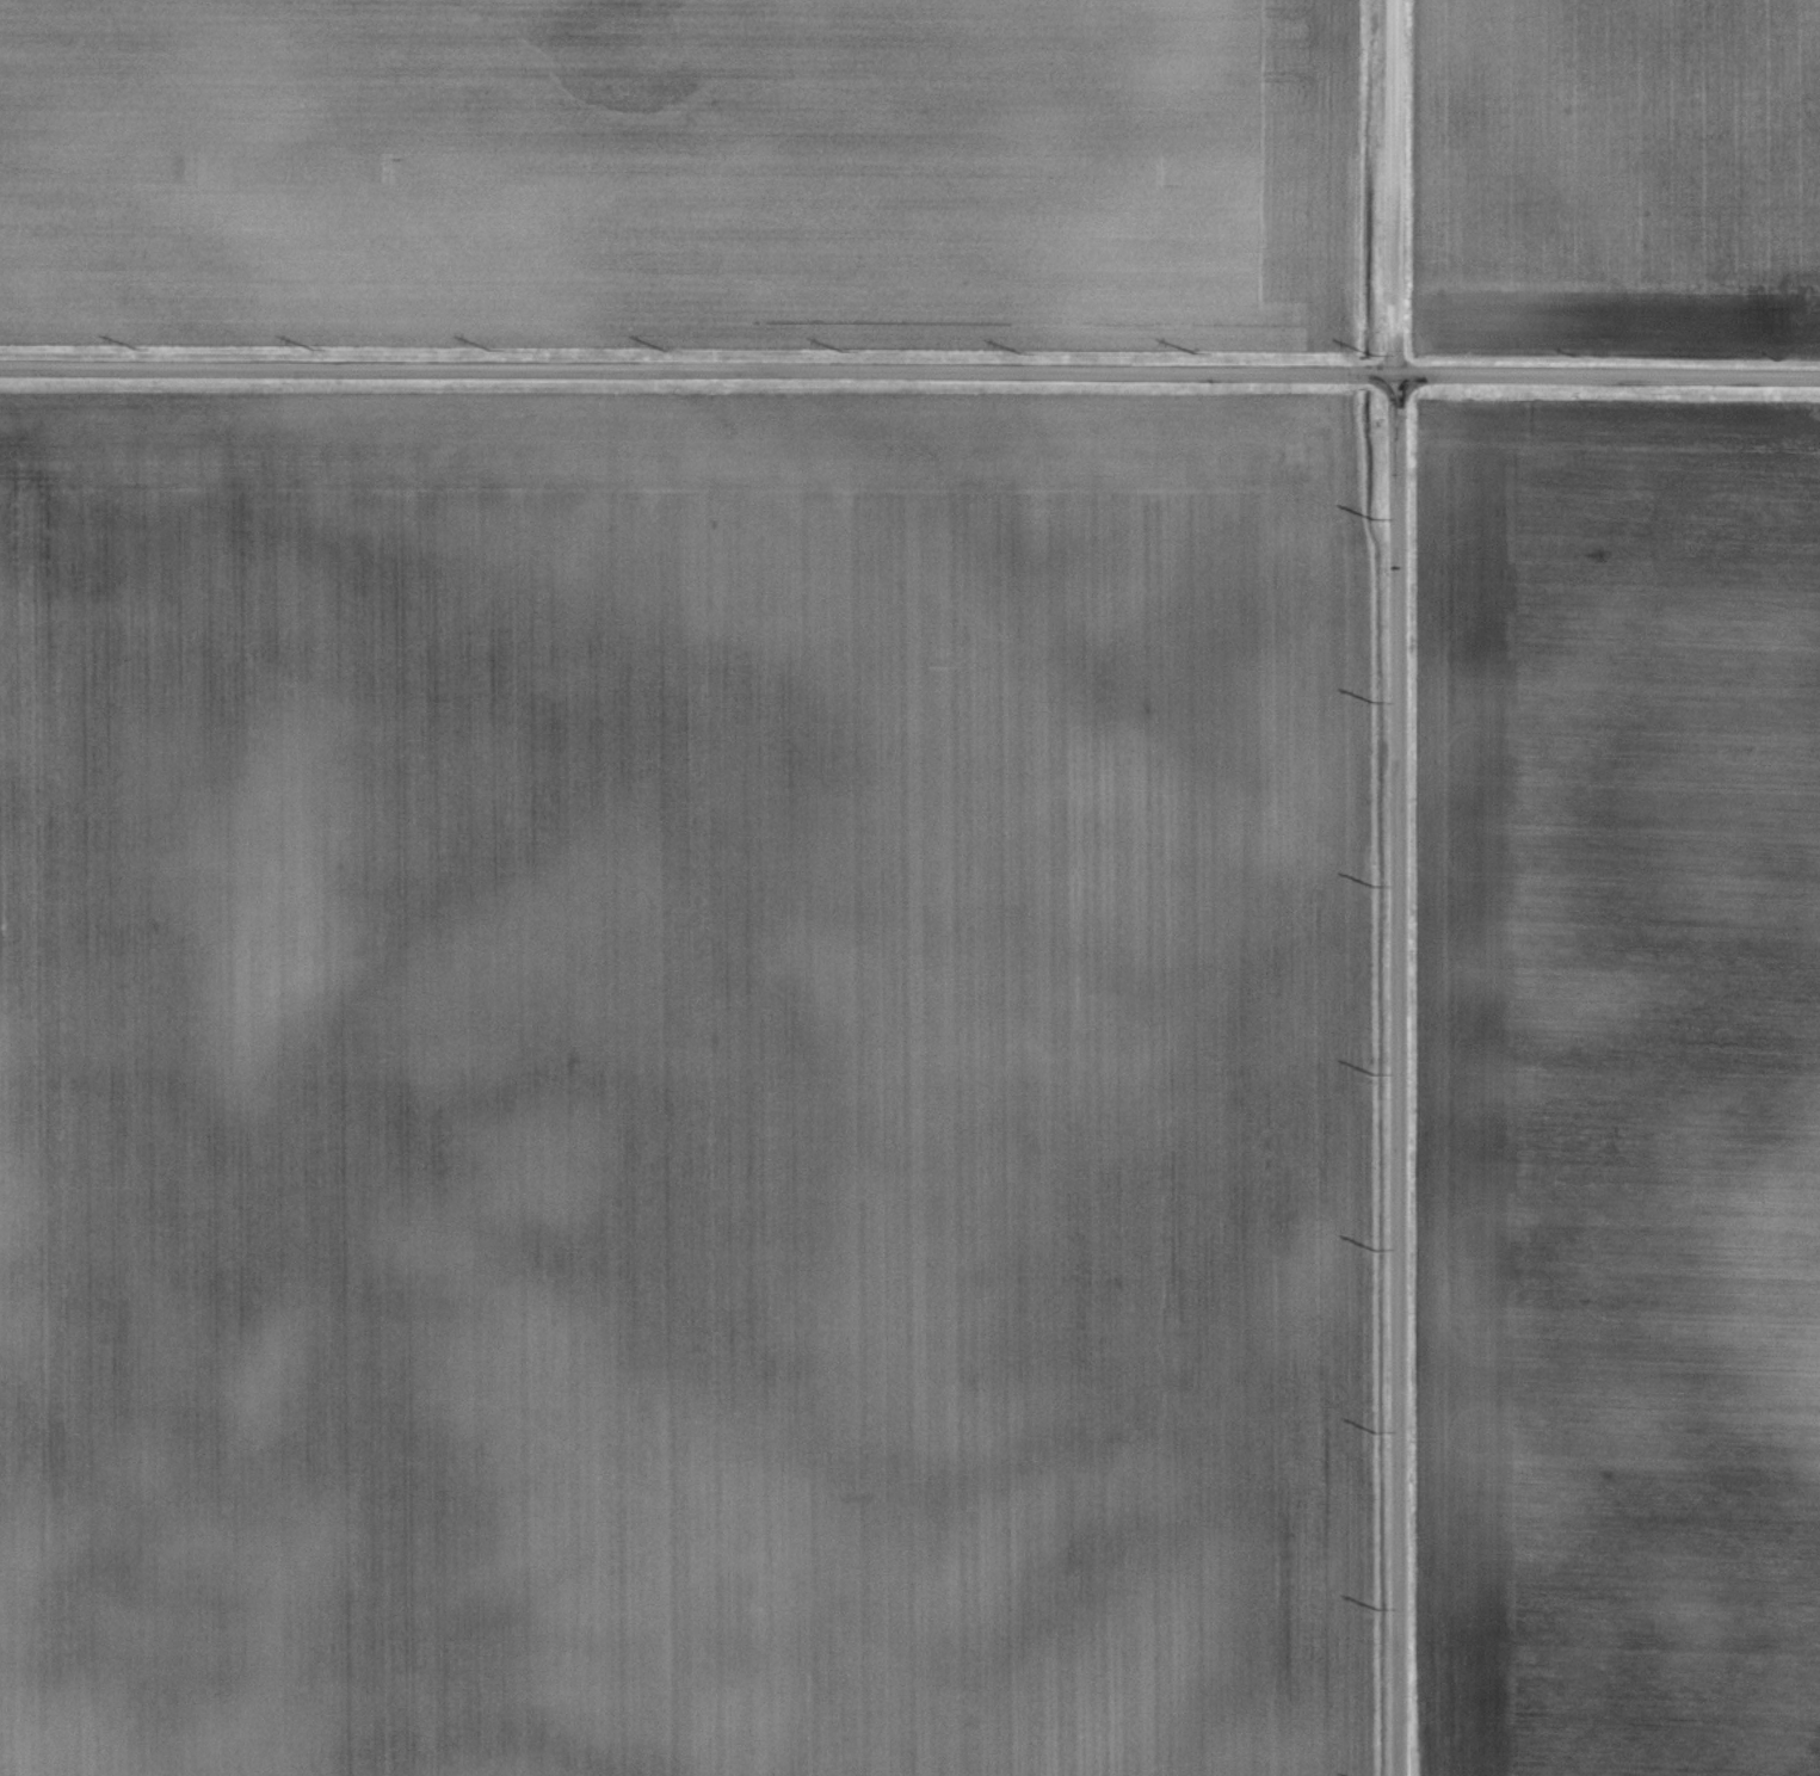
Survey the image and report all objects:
road: (909, 374)
road: (1392, 888)
crop: (686, 1085)

